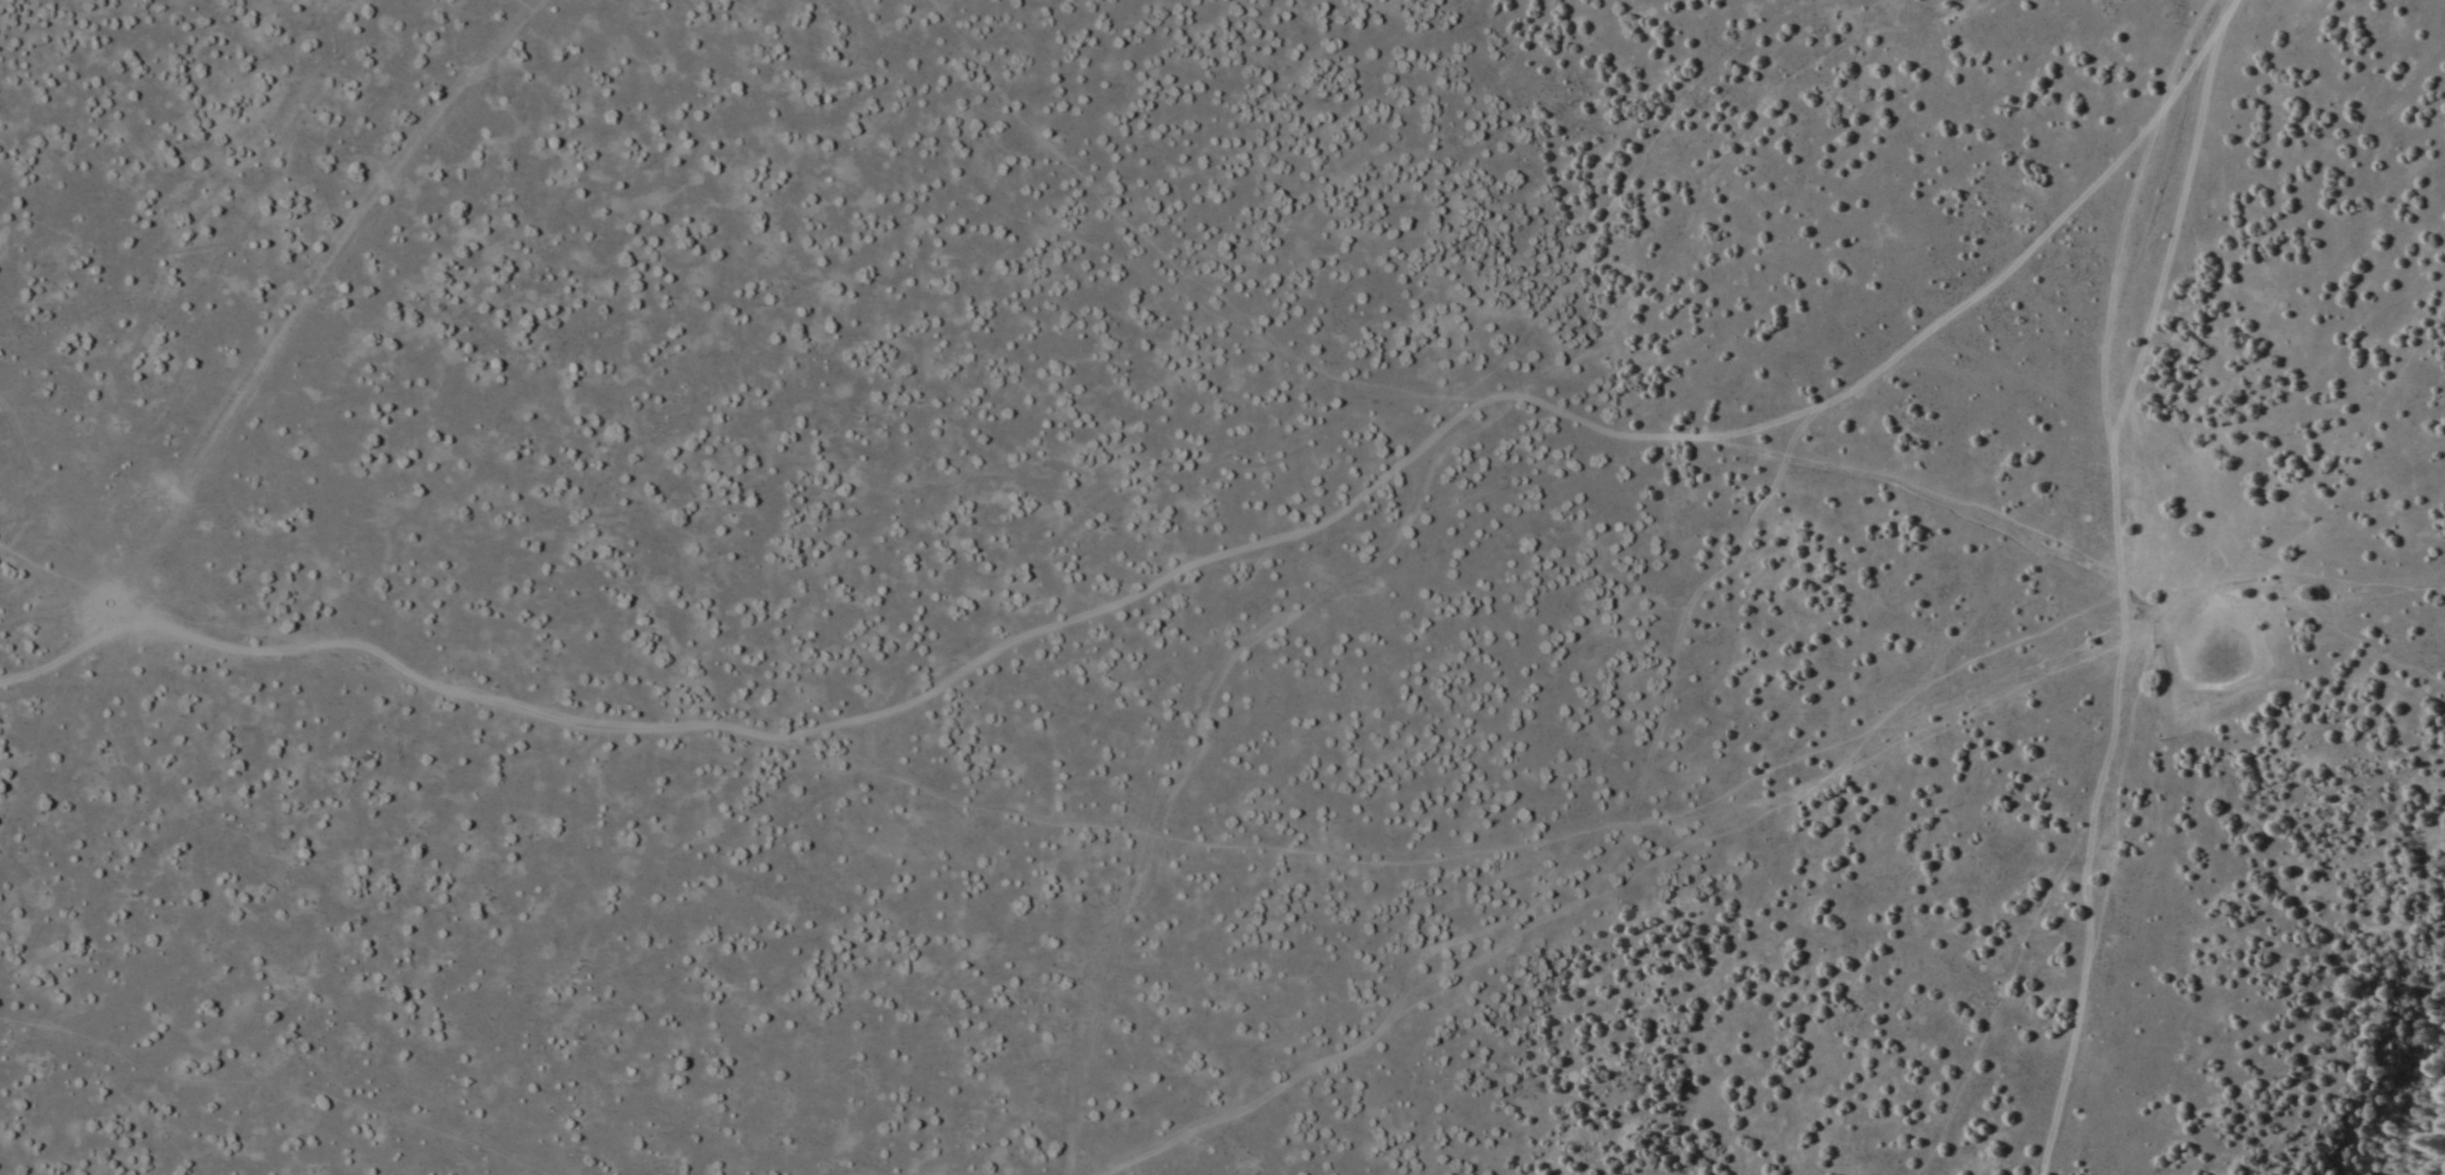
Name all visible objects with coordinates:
road: (1381, 553)
road: (310, 991)

